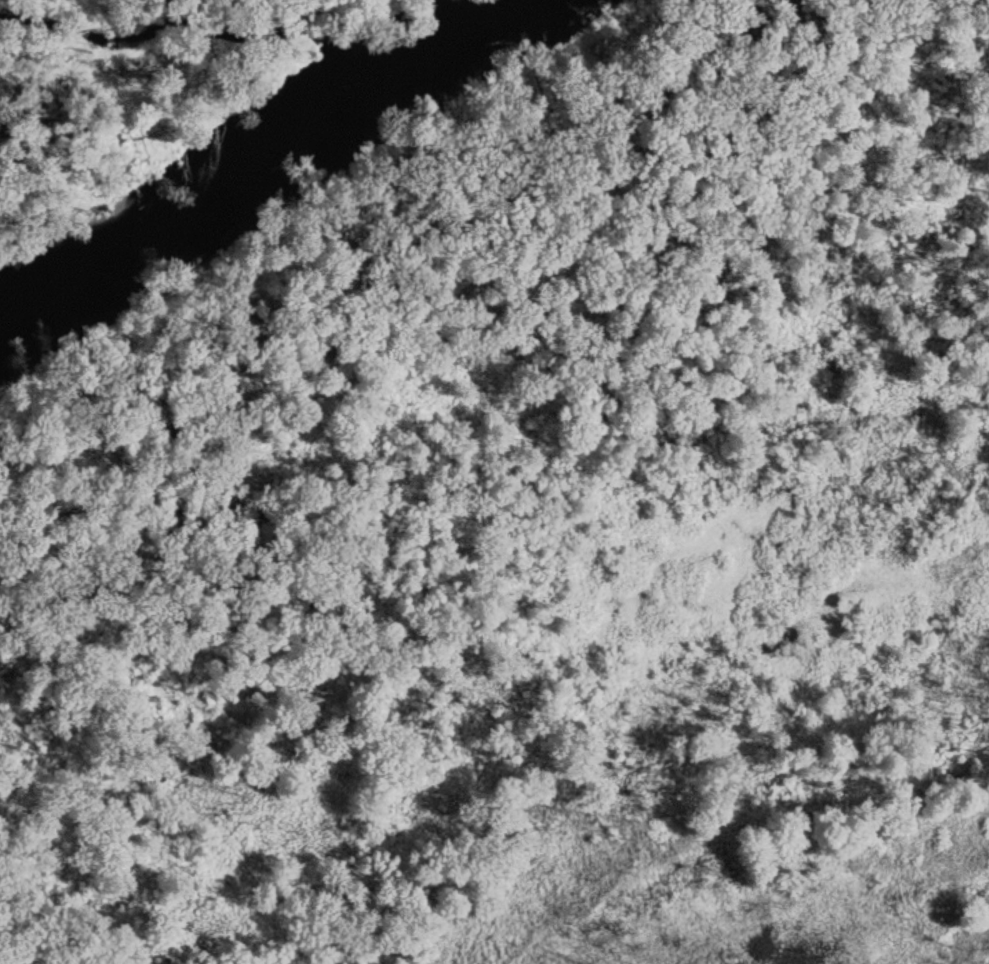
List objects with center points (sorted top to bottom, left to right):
river: (270, 174)

